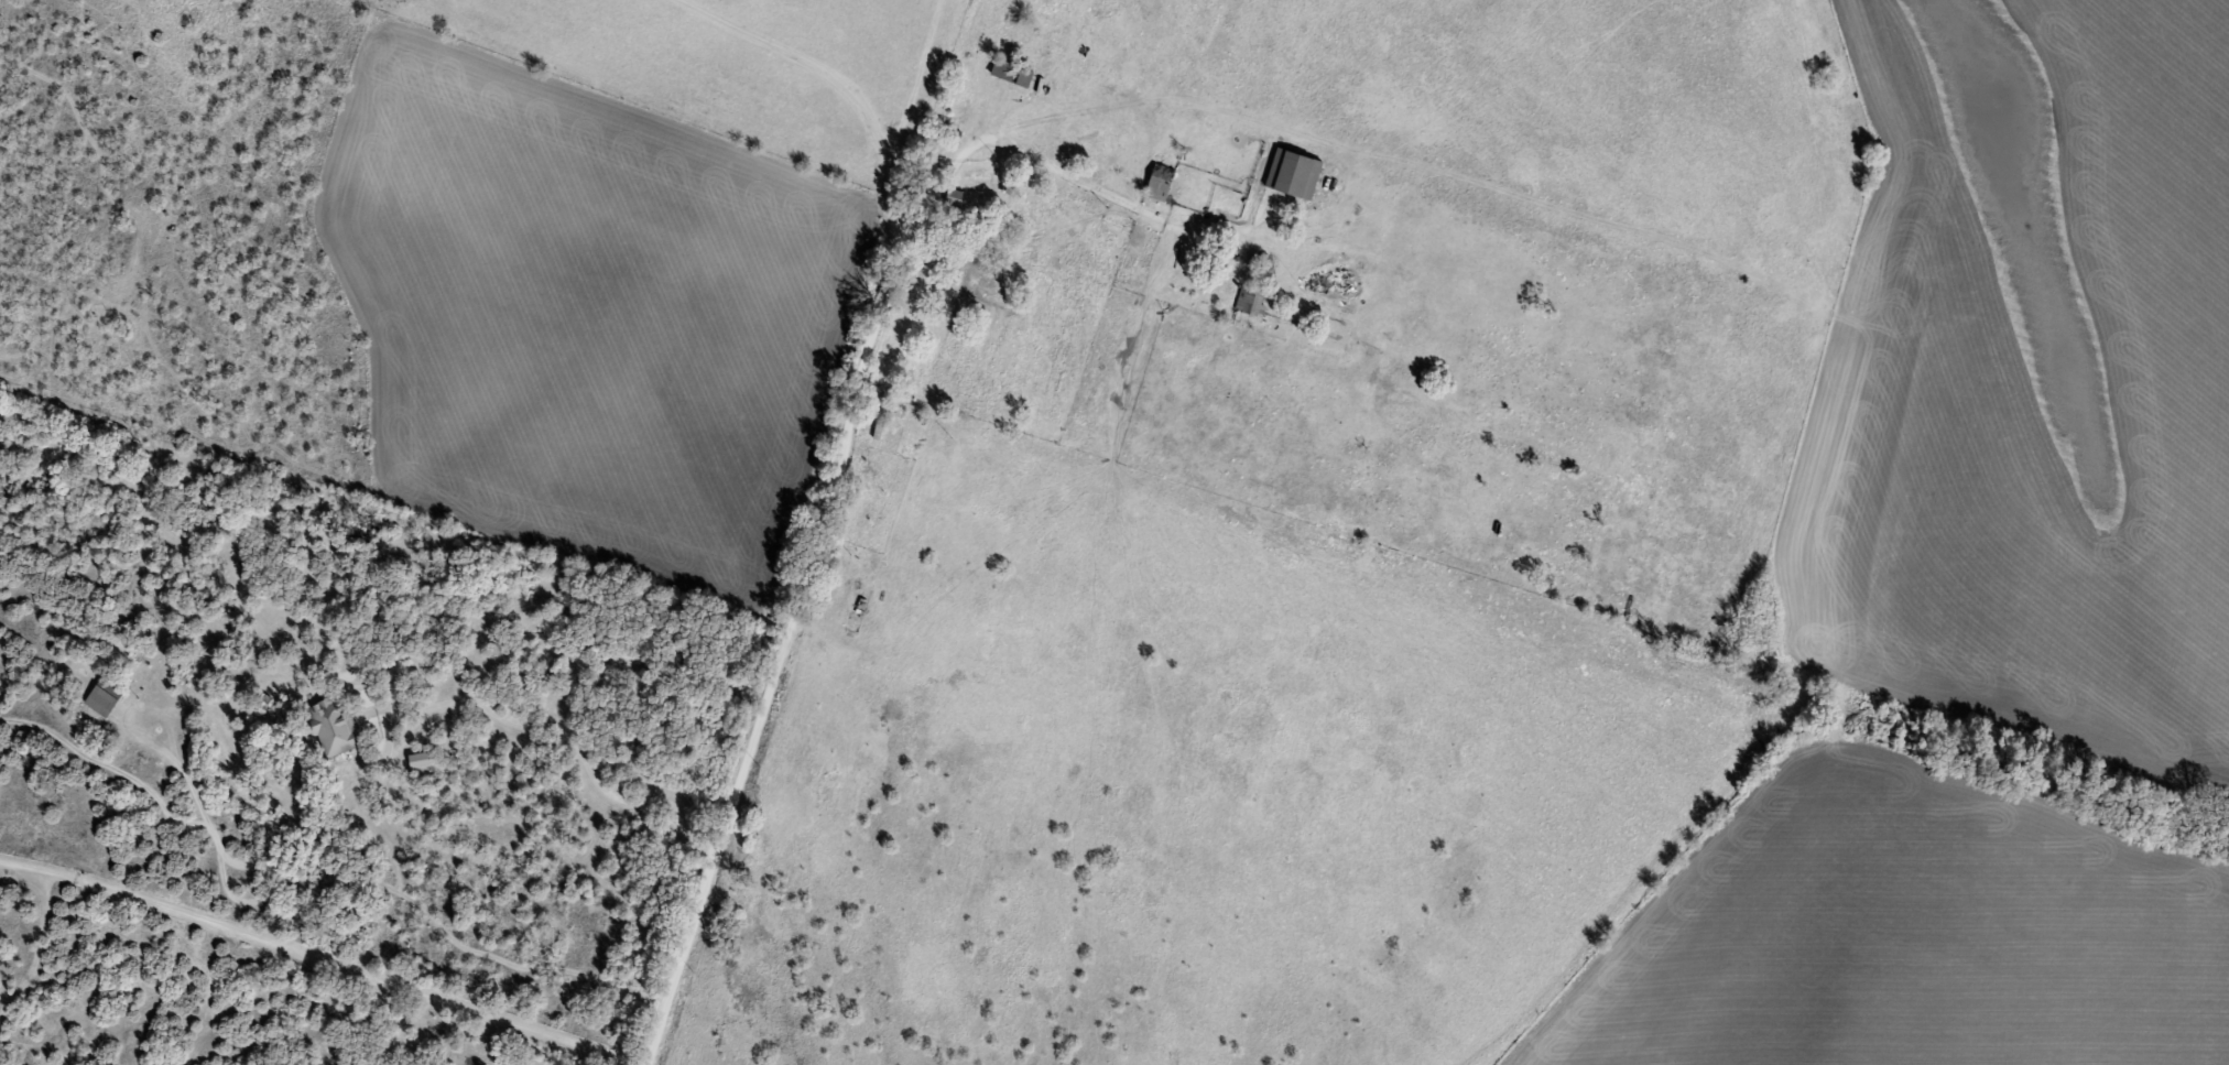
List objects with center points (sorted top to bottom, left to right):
building: (1013, 75)
building: (1206, 135)
building: (1295, 177)
building: (1162, 184)
road: (960, 199)
building: (957, 215)
building: (1253, 304)
building: (883, 421)
building: (847, 586)
building: (102, 703)
building: (336, 727)
road: (792, 732)

